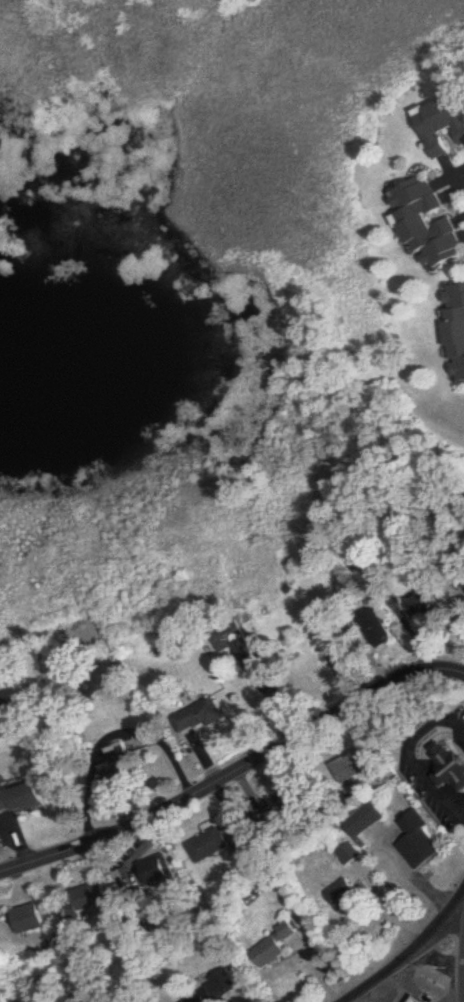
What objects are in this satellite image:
building: (442, 123)
road: (463, 171)
building: (426, 225)
building: (454, 331)
building: (425, 604)
building: (228, 637)
building: (199, 717)
building: (451, 764)
building: (118, 767)
building: (357, 767)
road: (235, 777)
building: (26, 798)
building: (273, 818)
building: (366, 821)
building: (418, 842)
building: (214, 843)
building: (348, 854)
building: (159, 871)
building: (343, 895)
building: (84, 900)
building: (24, 919)
building: (273, 946)
road: (402, 955)
building: (213, 991)
road: (367, 994)
building: (417, 999)

